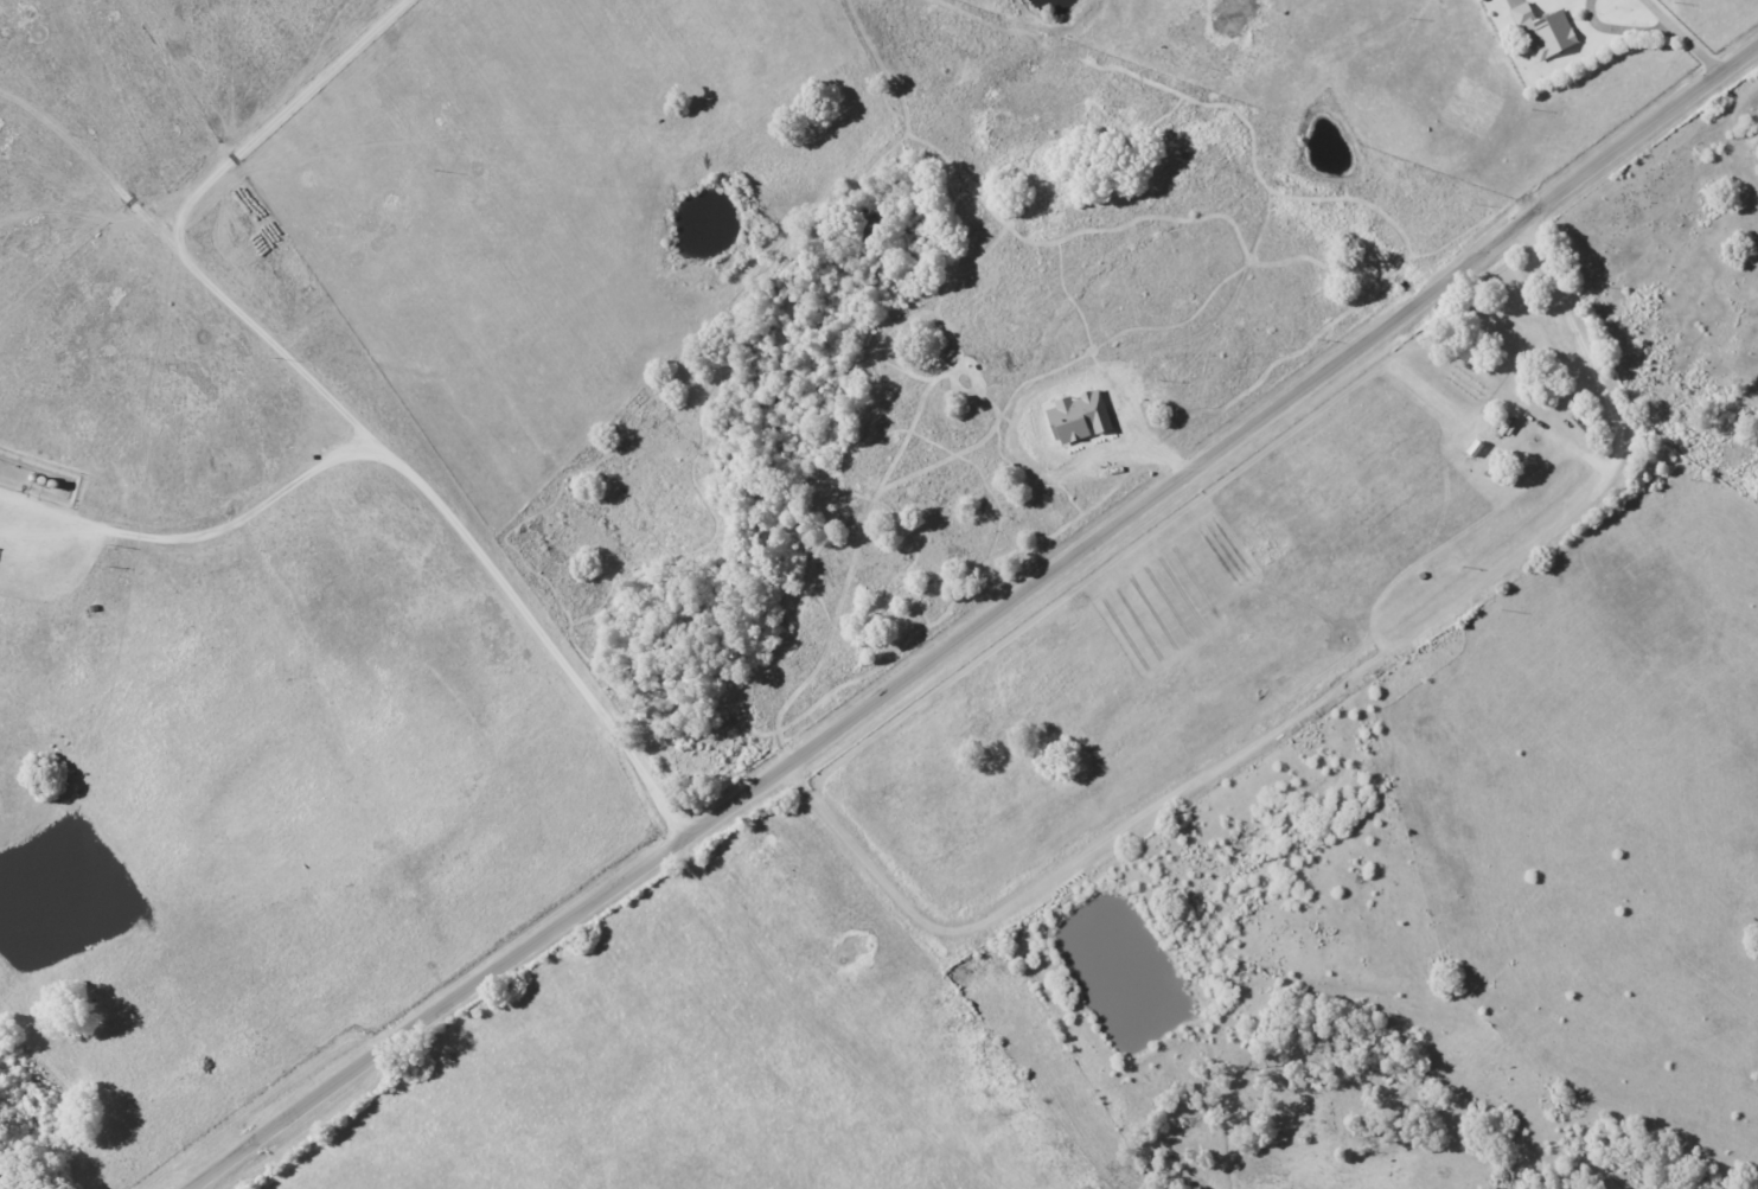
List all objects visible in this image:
building: (1546, 32)
road: (1688, 38)
road: (983, 631)
road: (1315, 711)

